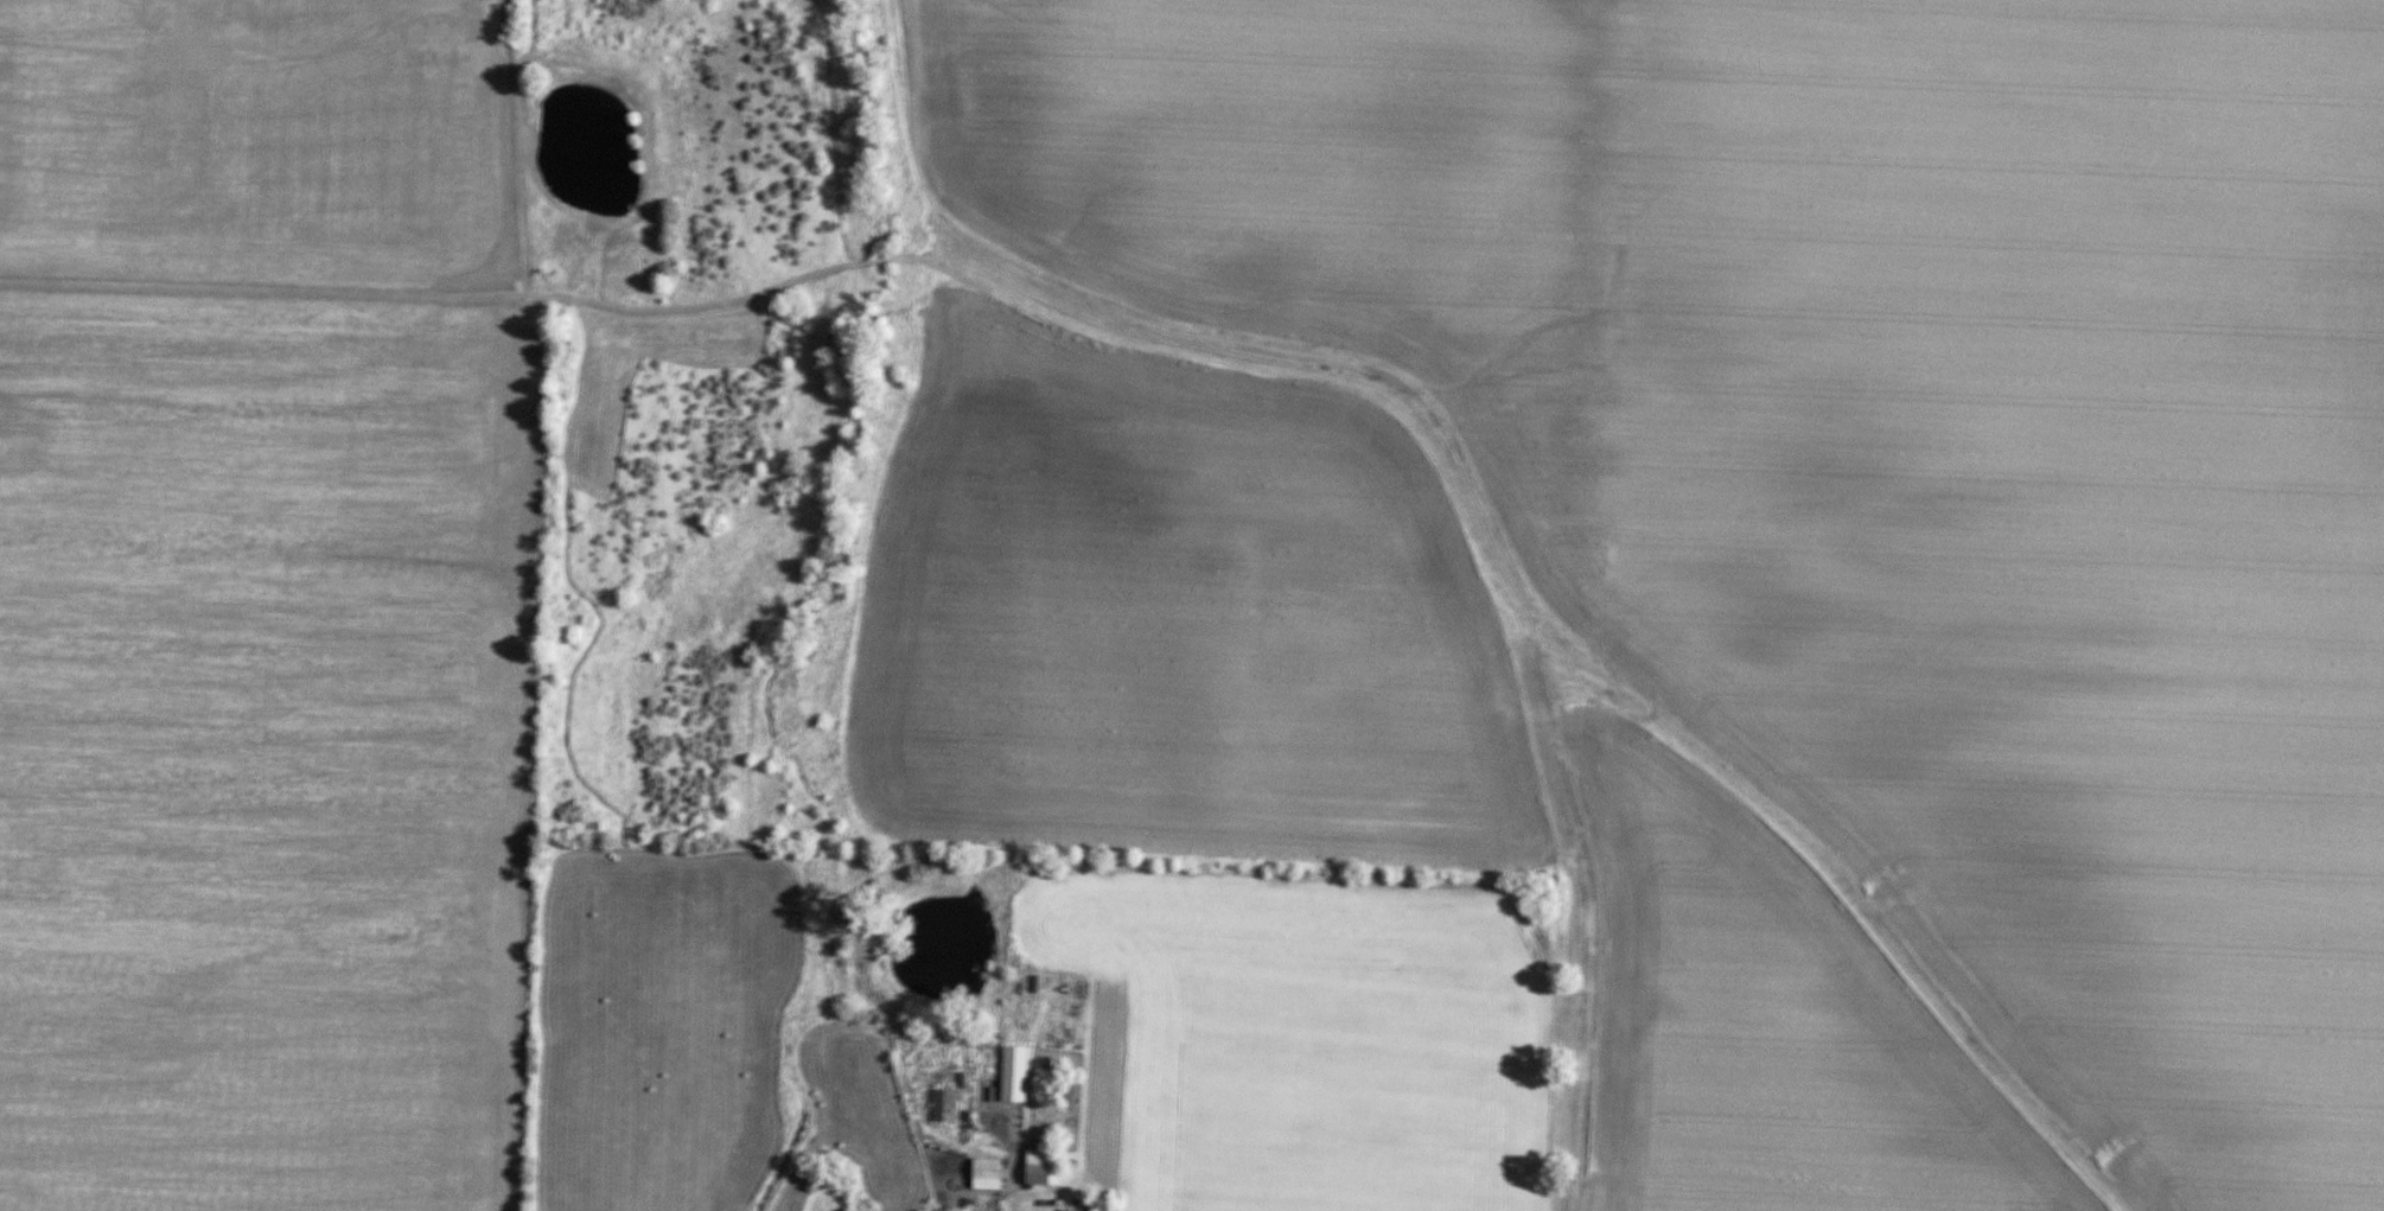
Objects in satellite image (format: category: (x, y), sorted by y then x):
building: (944, 1105)
road: (1008, 1162)
building: (1044, 1167)
building: (987, 1174)

